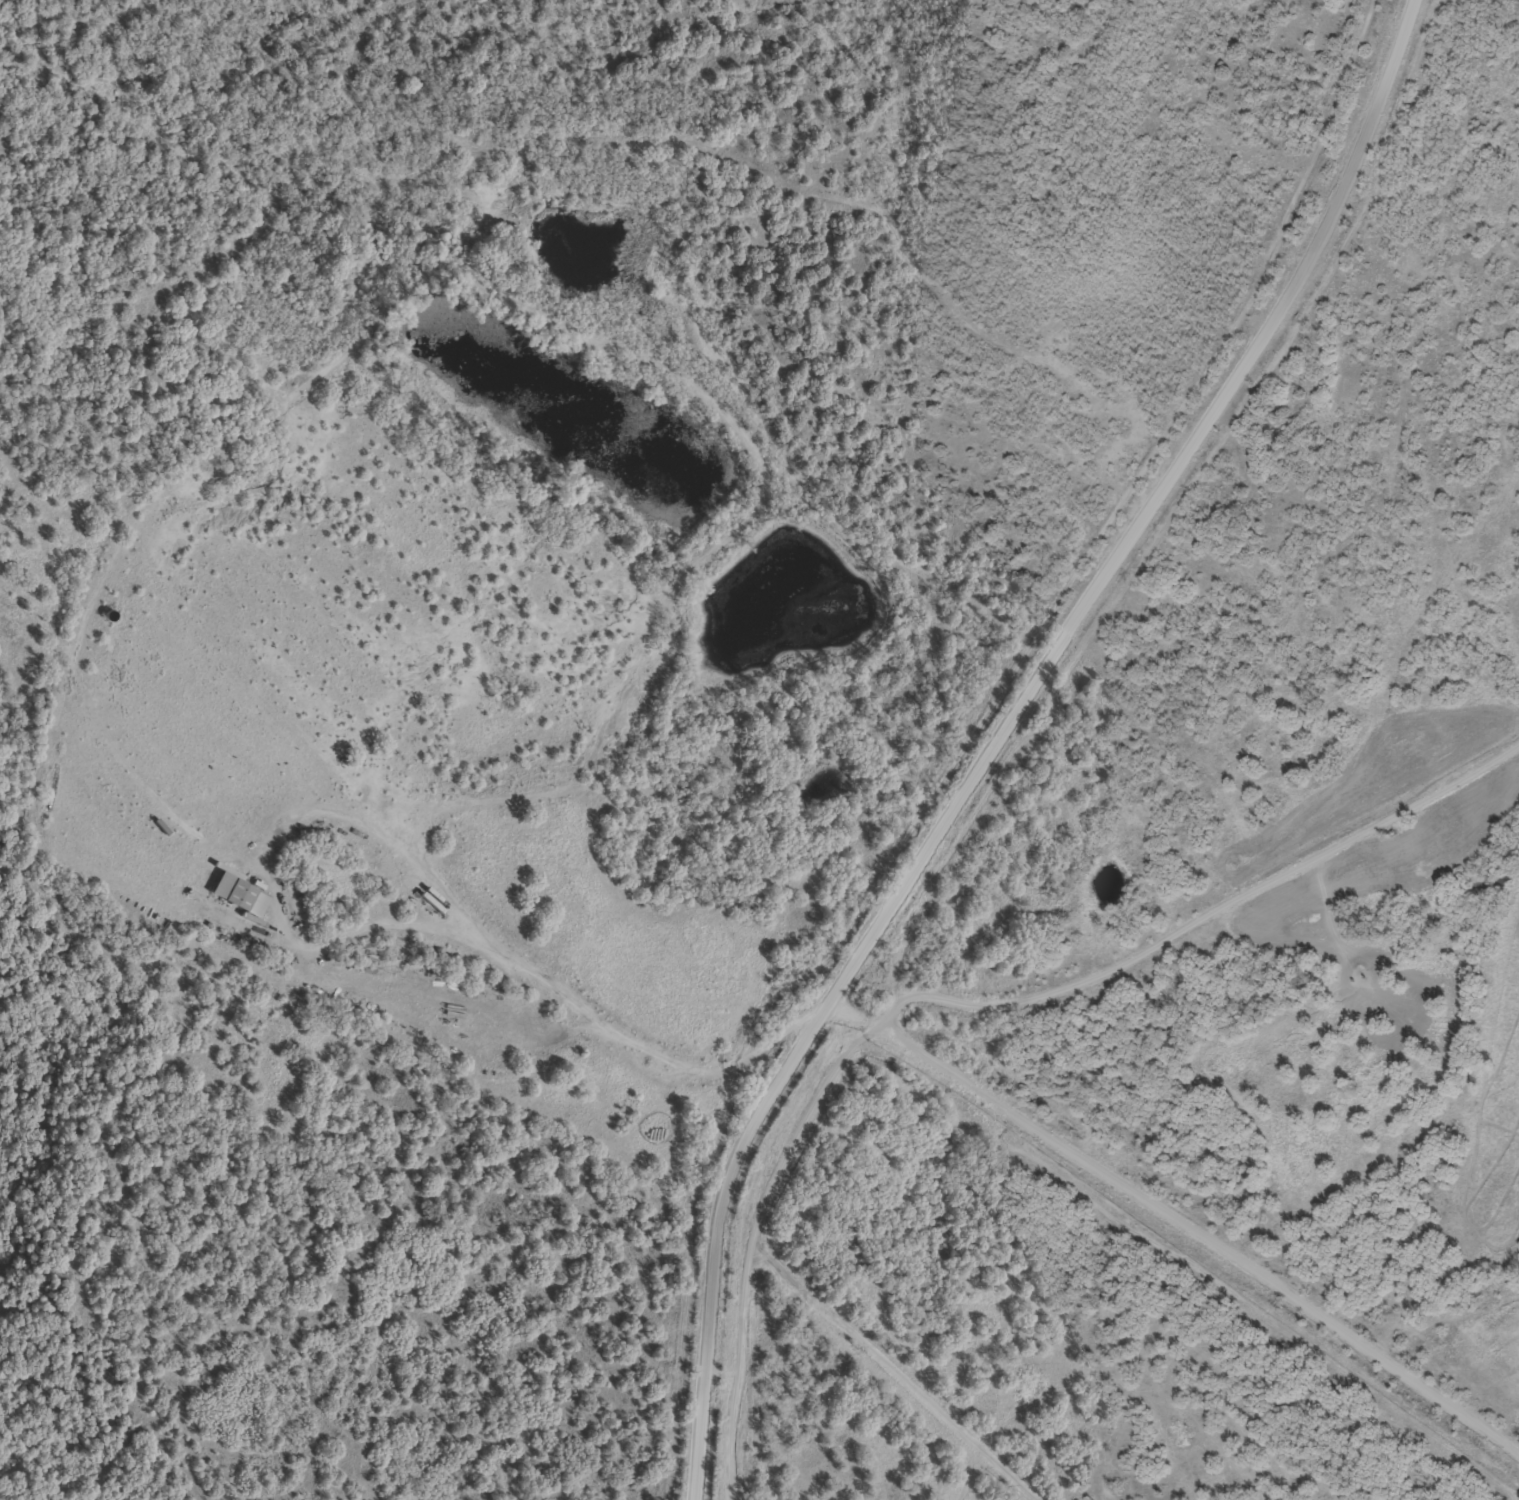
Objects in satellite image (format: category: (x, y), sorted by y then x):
road: (1007, 734)
road: (396, 848)
building: (237, 892)
road: (408, 894)
road: (1184, 927)
road: (538, 971)
road: (1200, 1240)
road: (1498, 1269)
road: (1508, 1274)
road: (884, 1361)
road: (747, 1422)

